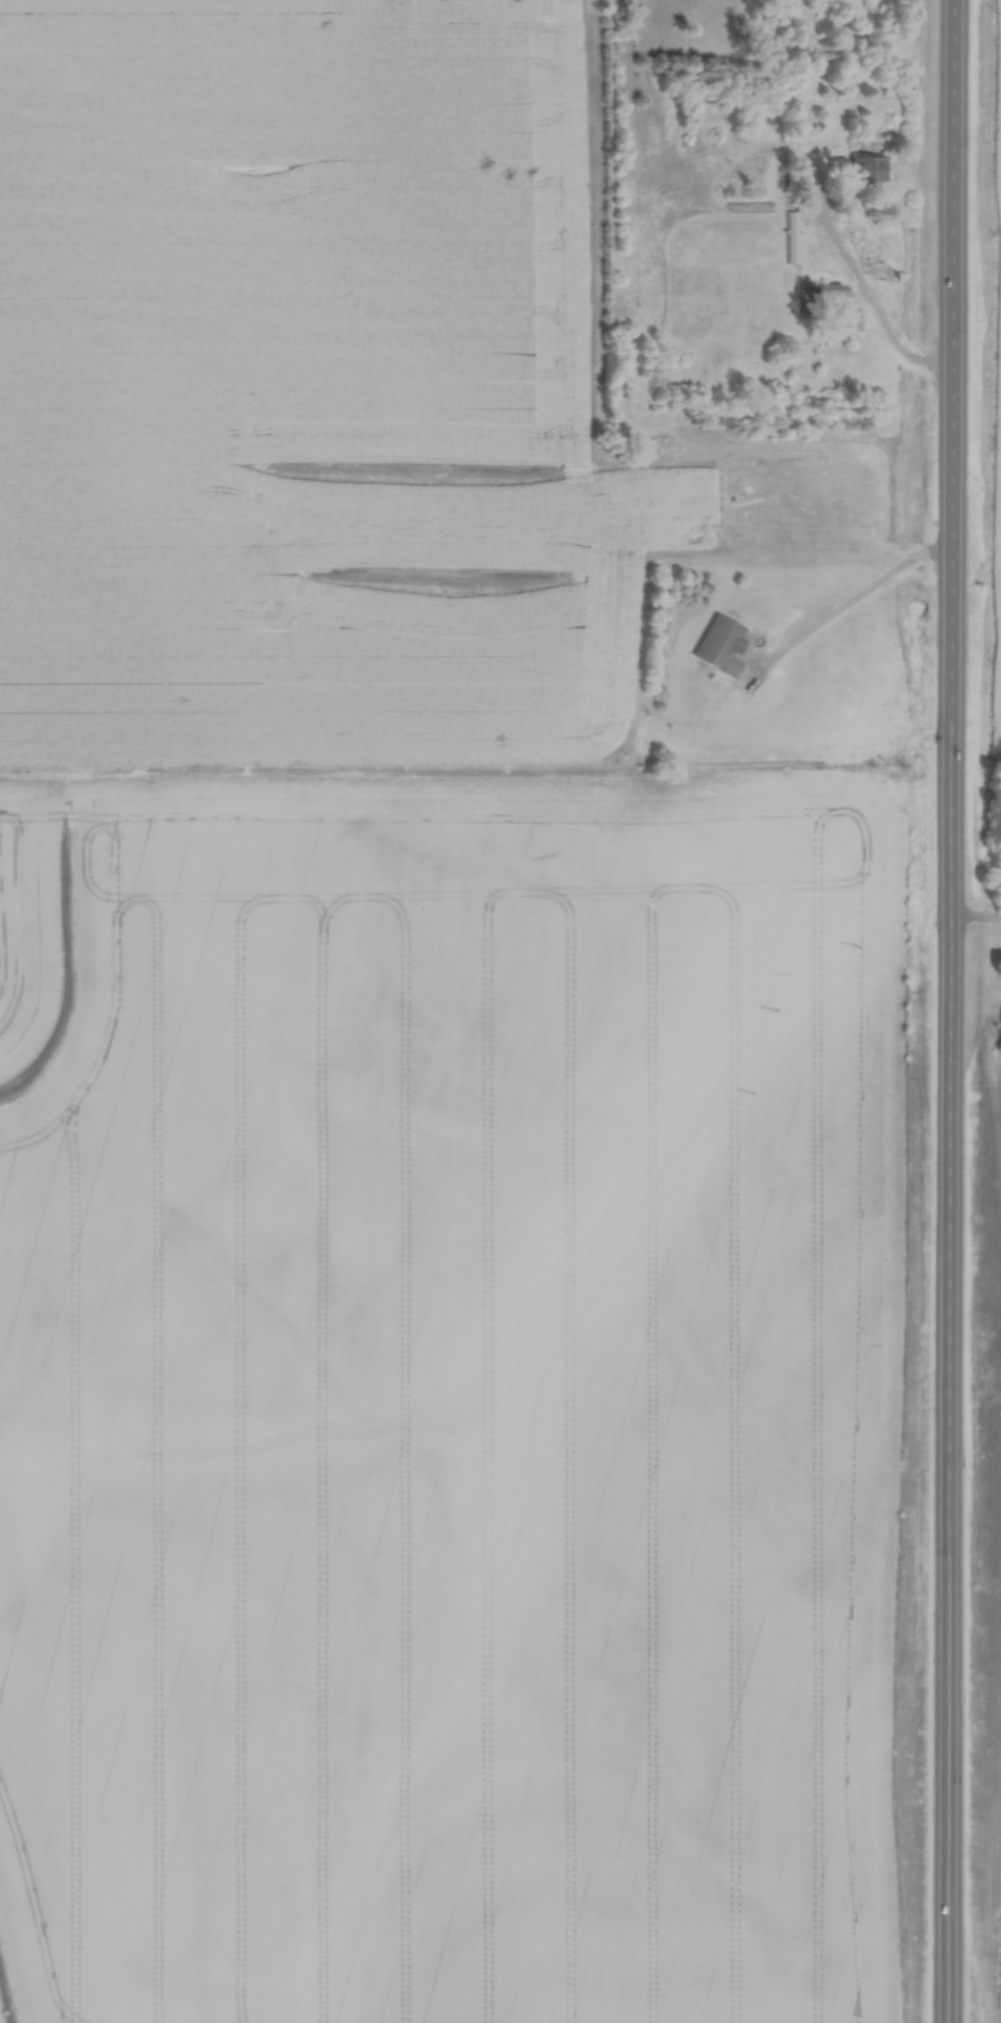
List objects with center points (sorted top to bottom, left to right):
building: (866, 165)
building: (825, 293)
road: (878, 310)
road: (855, 605)
building: (721, 643)
road: (978, 920)
road: (954, 1011)

